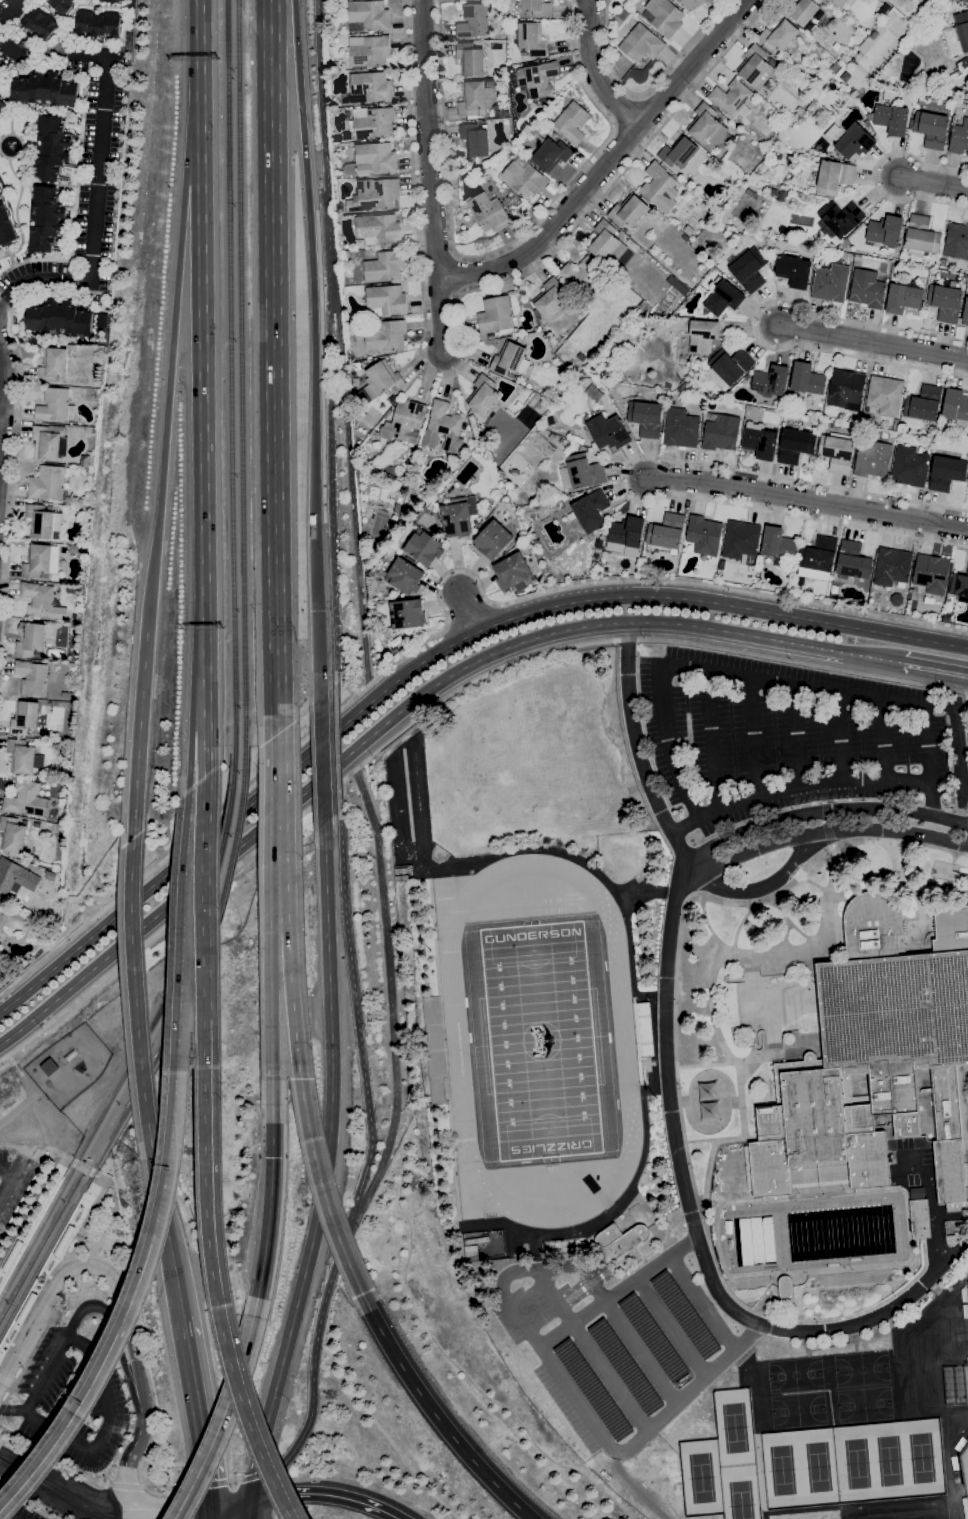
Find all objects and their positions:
building: (830, 0)
building: (113, 1)
building: (689, 3)
building: (839, 3)
building: (62, 5)
building: (537, 8)
building: (804, 11)
road: (12, 14)
building: (368, 15)
road: (198, 16)
building: (665, 16)
building: (473, 21)
building: (41, 23)
building: (99, 23)
building: (962, 29)
building: (779, 34)
building: (532, 38)
building: (642, 43)
building: (369, 50)
building: (471, 59)
building: (757, 66)
road: (597, 71)
building: (538, 78)
building: (369, 87)
building: (45, 89)
road: (646, 89)
building: (731, 96)
building: (477, 97)
building: (2, 105)
building: (891, 119)
building: (373, 122)
building: (573, 122)
building: (707, 126)
building: (932, 129)
road: (428, 138)
building: (959, 138)
building: (475, 139)
building: (851, 139)
road: (324, 140)
building: (52, 148)
building: (679, 152)
building: (967, 153)
building: (552, 154)
building: (372, 159)
road: (98, 162)
road: (607, 163)
road: (874, 175)
building: (834, 176)
building: (524, 177)
building: (657, 183)
road: (933, 184)
building: (374, 194)
building: (629, 210)
building: (489, 212)
building: (841, 217)
building: (46, 219)
building: (5, 224)
building: (379, 229)
building: (885, 231)
building: (921, 236)
building: (956, 241)
building: (845, 242)
building: (606, 243)
road: (501, 245)
building: (858, 257)
building: (943, 262)
building: (385, 265)
building: (750, 270)
building: (794, 270)
building: (580, 273)
building: (831, 282)
building: (868, 288)
building: (550, 297)
building: (724, 297)
building: (903, 298)
building: (386, 300)
building: (946, 302)
building: (965, 313)
road: (441, 314)
building: (496, 315)
building: (59, 318)
road: (458, 320)
road: (753, 323)
road: (174, 333)
building: (703, 335)
building: (386, 336)
road: (873, 342)
road: (202, 346)
road: (315, 347)
building: (510, 359)
building: (53, 365)
building: (731, 365)
road: (274, 366)
railway: (241, 373)
railway: (231, 375)
building: (807, 378)
building: (382, 379)
building: (771, 380)
building: (847, 389)
road: (3, 393)
building: (483, 395)
building: (884, 396)
building: (392, 401)
building: (924, 403)
building: (55, 405)
building: (956, 406)
building: (387, 413)
building: (647, 418)
building: (404, 422)
building: (896, 424)
building: (474, 427)
building: (445, 428)
building: (681, 428)
building: (608, 431)
building: (721, 431)
building: (553, 435)
building: (49, 442)
building: (761, 442)
building: (796, 445)
building: (578, 446)
building: (837, 451)
building: (873, 459)
building: (89, 461)
building: (910, 467)
building: (388, 470)
building: (584, 471)
building: (515, 472)
building: (947, 472)
road: (14, 476)
road: (622, 477)
road: (331, 481)
building: (47, 483)
road: (352, 491)
road: (805, 501)
building: (50, 507)
building: (397, 508)
building: (591, 510)
building: (485, 512)
building: (459, 516)
building: (43, 521)
building: (479, 524)
building: (667, 531)
building: (704, 534)
building: (627, 536)
building: (493, 539)
building: (741, 539)
building: (599, 543)
building: (778, 544)
building: (73, 547)
building: (424, 547)
building: (819, 557)
building: (41, 561)
building: (853, 562)
building: (892, 566)
building: (512, 571)
building: (932, 573)
building: (405, 576)
road: (619, 582)
building: (960, 586)
building: (38, 599)
building: (897, 599)
road: (467, 612)
building: (407, 613)
building: (30, 638)
road: (428, 657)
road: (933, 667)
building: (32, 677)
road: (791, 685)
building: (67, 694)
road: (431, 708)
road: (400, 709)
building: (25, 717)
road: (206, 717)
road: (192, 724)
road: (632, 730)
road: (138, 734)
road: (755, 737)
road: (796, 737)
road: (839, 738)
road: (711, 741)
parking lot: (781, 741)
road: (883, 741)
road: (667, 745)
road: (337, 746)
building: (21, 756)
road: (321, 759)
road: (928, 760)
road: (796, 788)
track: (407, 794)
building: (26, 799)
road: (819, 811)
road: (278, 816)
building: (24, 822)
building: (37, 824)
road: (825, 831)
railway: (236, 832)
building: (12, 835)
railway: (223, 836)
road: (183, 841)
road: (679, 853)
building: (401, 870)
building: (50, 875)
building: (16, 876)
building: (401, 877)
road: (759, 888)
road: (208, 897)
track: (518, 902)
building: (0, 908)
road: (344, 913)
track: (513, 913)
road: (181, 946)
railway: (181, 965)
railway: (197, 970)
road: (391, 975)
road: (136, 984)
road: (271, 989)
road: (291, 989)
building: (643, 1030)
track: (624, 1038)
park: (540, 1041)
park: (541, 1041)
building: (434, 1048)
road: (11, 1058)
building: (876, 1058)
building: (49, 1066)
road: (677, 1069)
road: (21, 1105)
road: (36, 1111)
road: (272, 1118)
road: (25, 1146)
road: (24, 1151)
railway: (80, 1152)
road: (59, 1154)
traffic signals: (273, 1157)
road: (65, 1161)
road: (324, 1165)
road: (83, 1166)
road: (6, 1170)
railway: (65, 1172)
road: (11, 1175)
railway: (87, 1179)
road: (97, 1179)
parking lot: (14, 1180)
railway: (100, 1187)
road: (323, 1188)
road: (25, 1196)
road: (930, 1202)
road: (108, 1214)
building: (919, 1214)
road: (168, 1223)
road: (694, 1226)
road: (268, 1236)
building: (622, 1237)
building: (64, 1240)
road: (341, 1249)
road: (67, 1250)
building: (471, 1252)
building: (13, 1256)
road: (523, 1270)
road: (221, 1275)
building: (786, 1289)
road: (618, 1292)
road: (48, 1298)
road: (702, 1301)
building: (27, 1308)
road: (83, 1308)
road: (131, 1309)
building: (684, 1313)
road: (125, 1325)
road: (671, 1327)
building: (652, 1336)
parking lot: (617, 1340)
road: (131, 1343)
road: (589, 1350)
road: (641, 1352)
road: (27, 1356)
building: (626, 1366)
park: (862, 1369)
park: (795, 1375)
road: (6, 1380)
building: (593, 1389)
parking lot: (73, 1399)
road: (1, 1405)
park: (865, 1405)
road: (13, 1410)
road: (199, 1410)
park: (798, 1410)
road: (436, 1414)
road: (223, 1419)
park: (735, 1425)
road: (105, 1426)
road: (138, 1432)
road: (642, 1435)
road: (53, 1457)
park: (930, 1457)
park: (893, 1460)
park: (857, 1463)
park: (820, 1466)
park: (783, 1469)
stadium: (964, 1471)
park: (702, 1477)
road: (225, 1482)
road: (68, 1486)
road: (125, 1486)
road: (127, 1489)
park: (742, 1492)
road: (275, 1494)
road: (41, 1495)
road: (325, 1495)
traffic signals: (250, 1500)
road: (179, 1503)
road: (231, 1503)
road: (27, 1504)
traffic signals: (212, 1507)
parking lot: (16, 1508)
road: (176, 1508)
road: (248, 1509)
road: (211, 1513)
road: (4, 1516)

